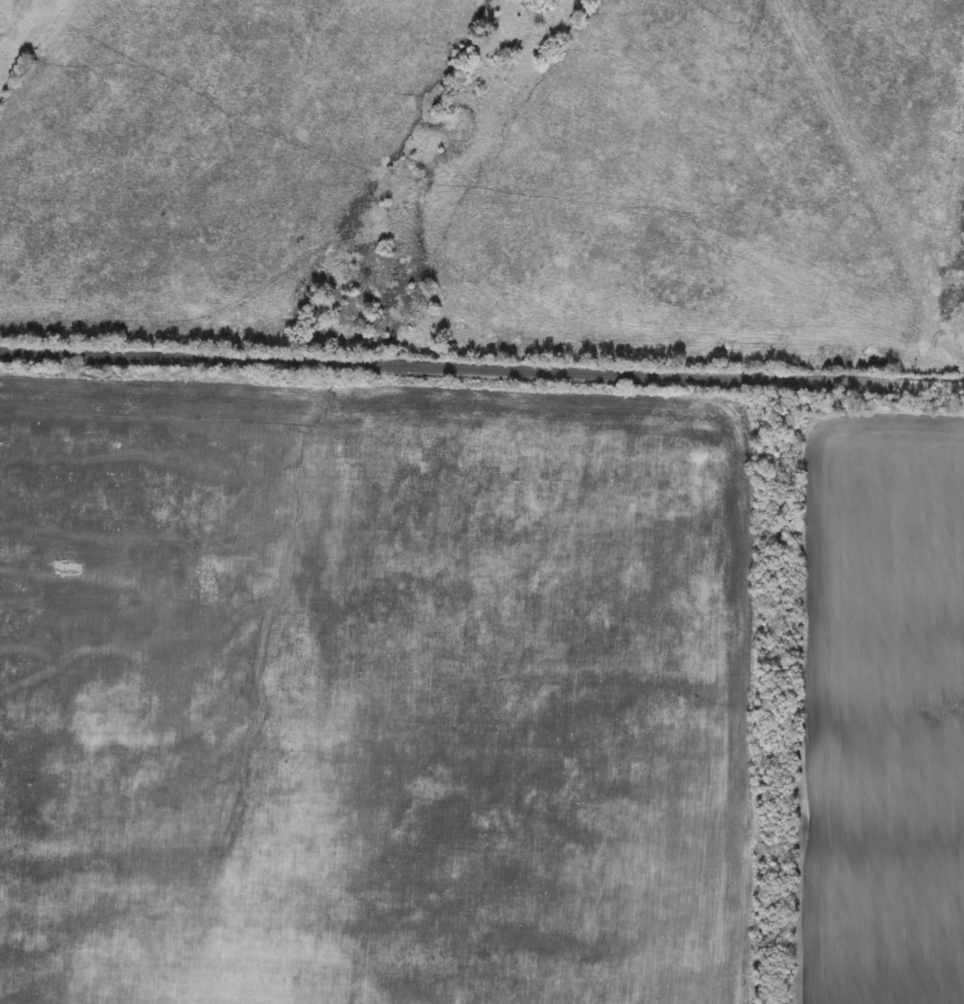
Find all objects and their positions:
road: (482, 365)
building: (68, 569)

